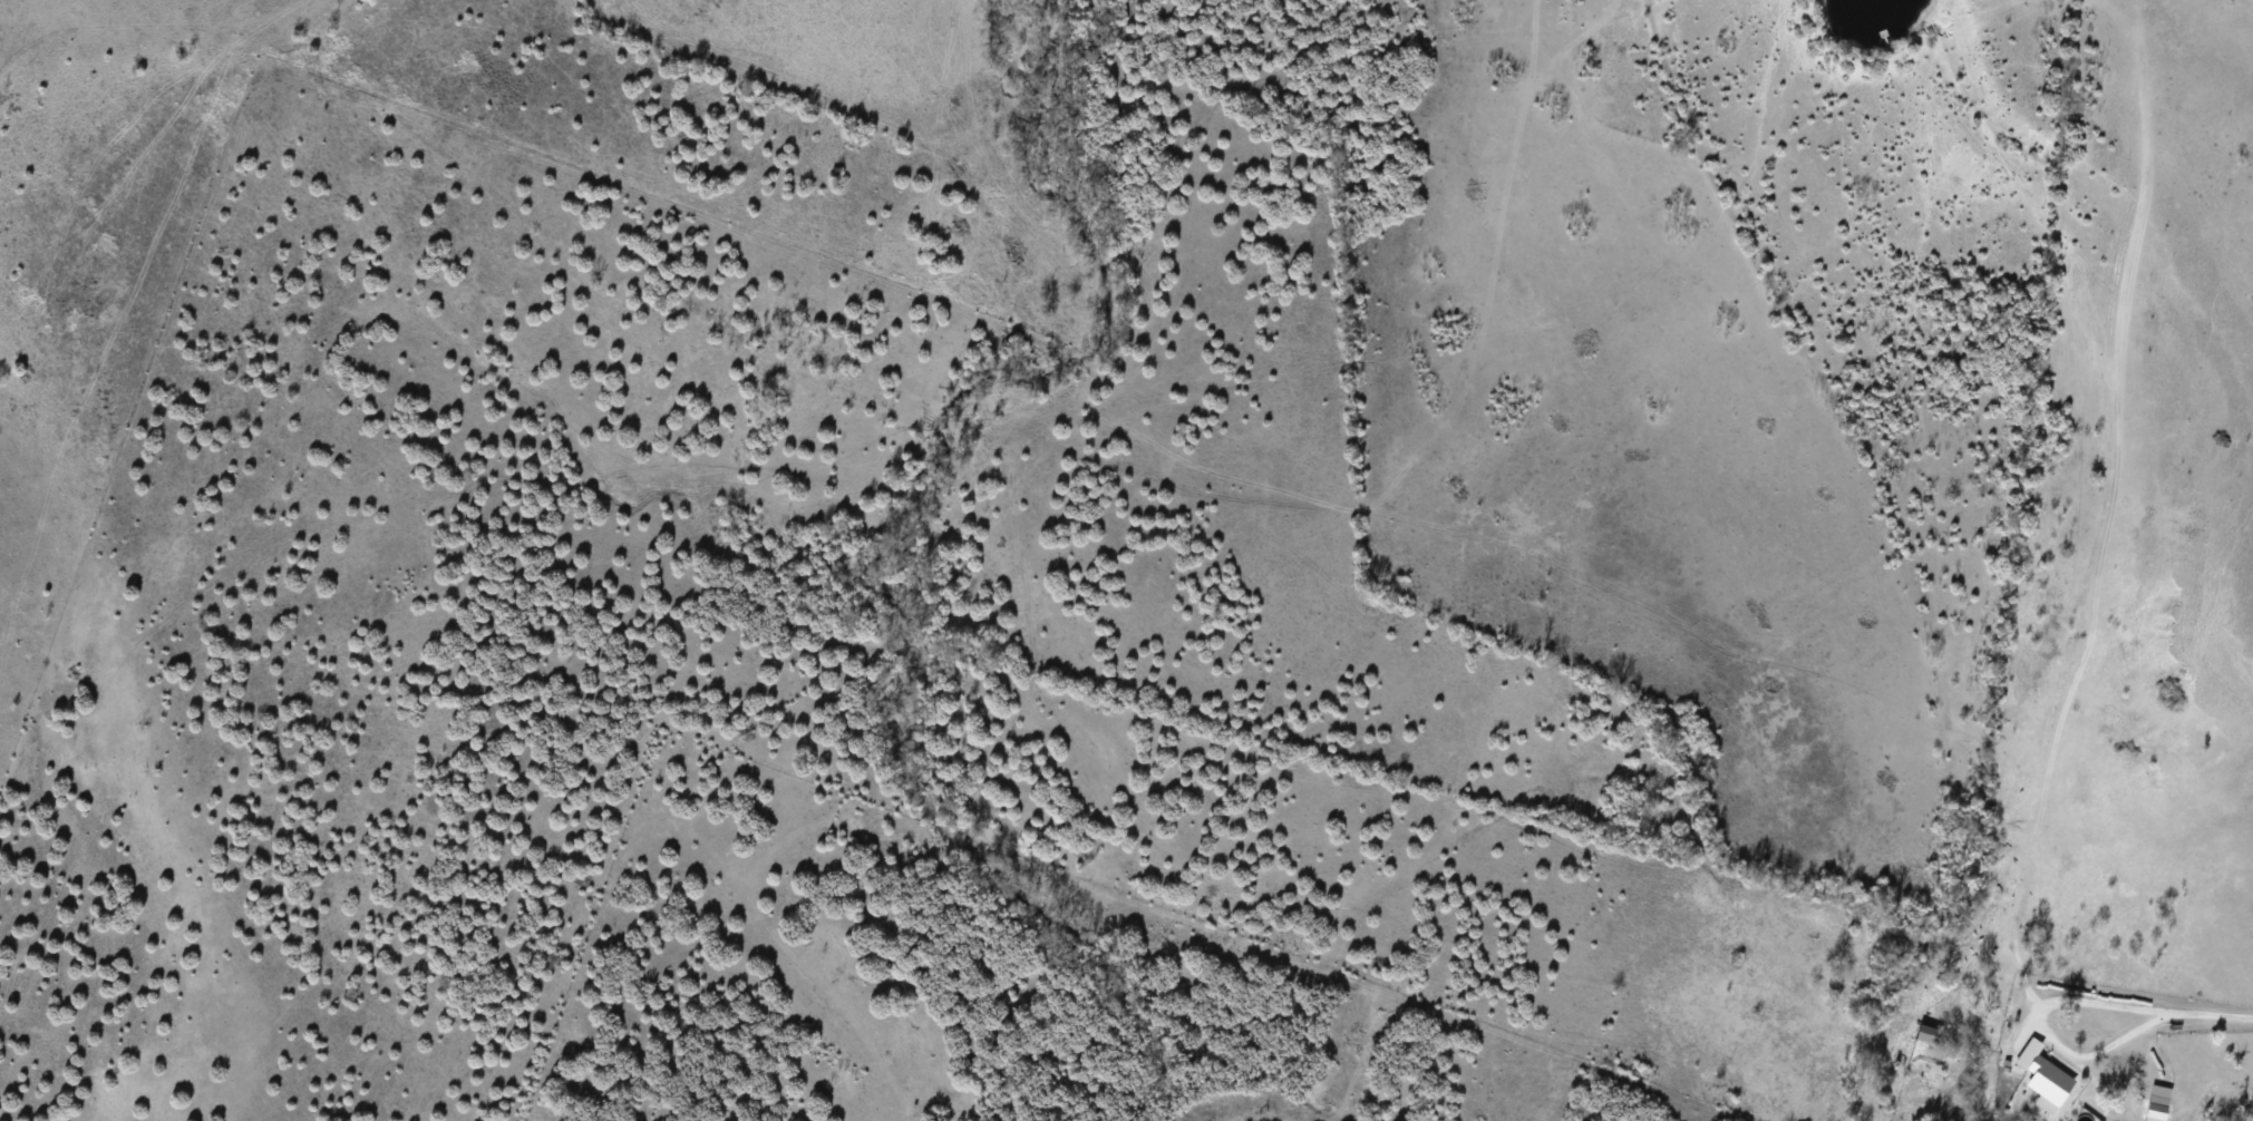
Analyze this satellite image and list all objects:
building: (1927, 1034)
building: (2045, 1078)

